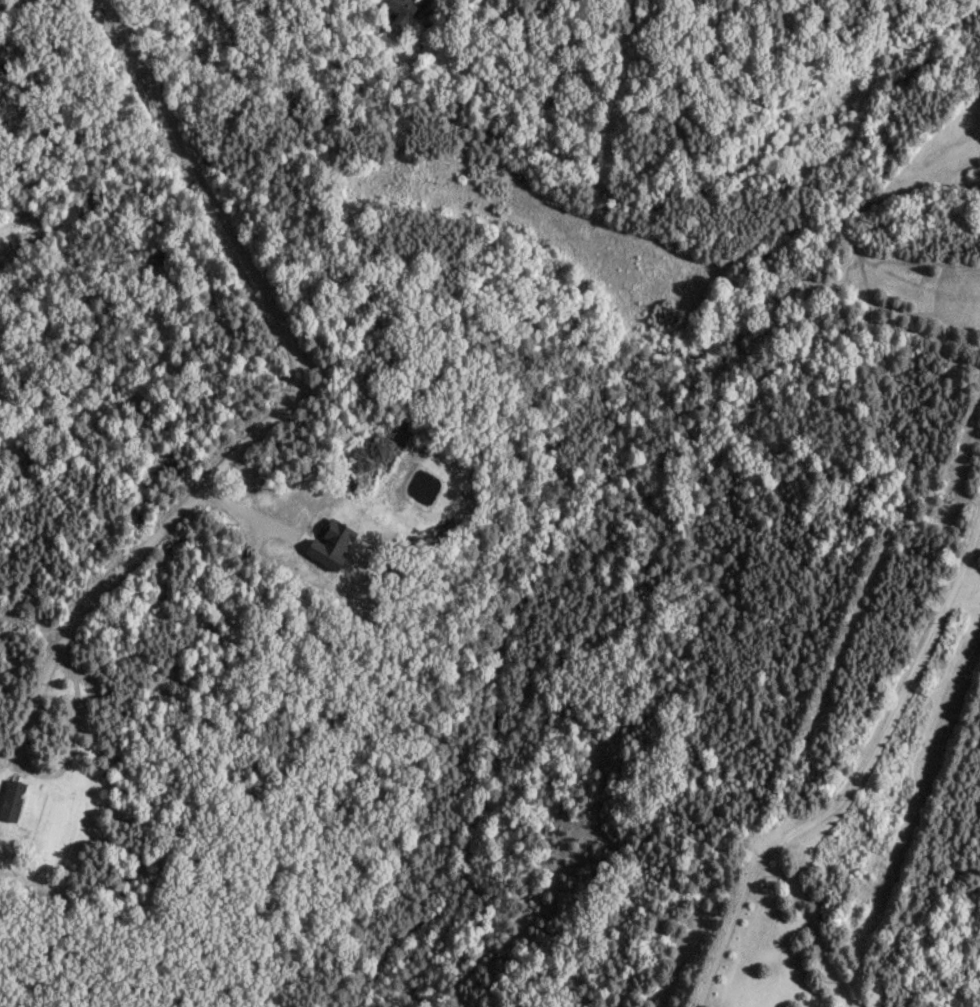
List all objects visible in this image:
road: (422, 4)
building: (399, 11)
road: (688, 119)
road: (636, 243)
road: (297, 392)
road: (247, 517)
road: (905, 704)
building: (10, 798)
road: (730, 922)
road: (810, 927)

